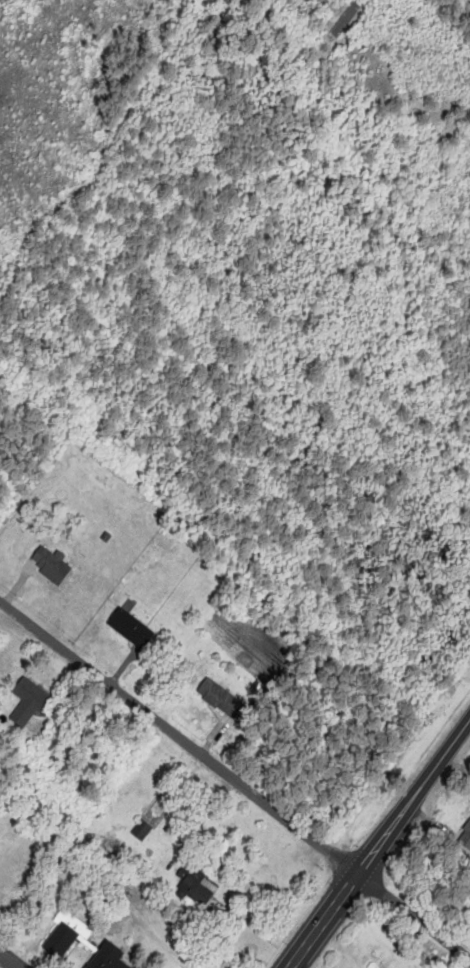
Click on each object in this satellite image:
road: (346, 16)
building: (53, 565)
building: (131, 628)
building: (221, 699)
building: (29, 703)
road: (178, 740)
building: (465, 837)
road: (379, 844)
building: (196, 885)
road: (414, 915)
building: (66, 935)
building: (108, 957)
road: (9, 961)

